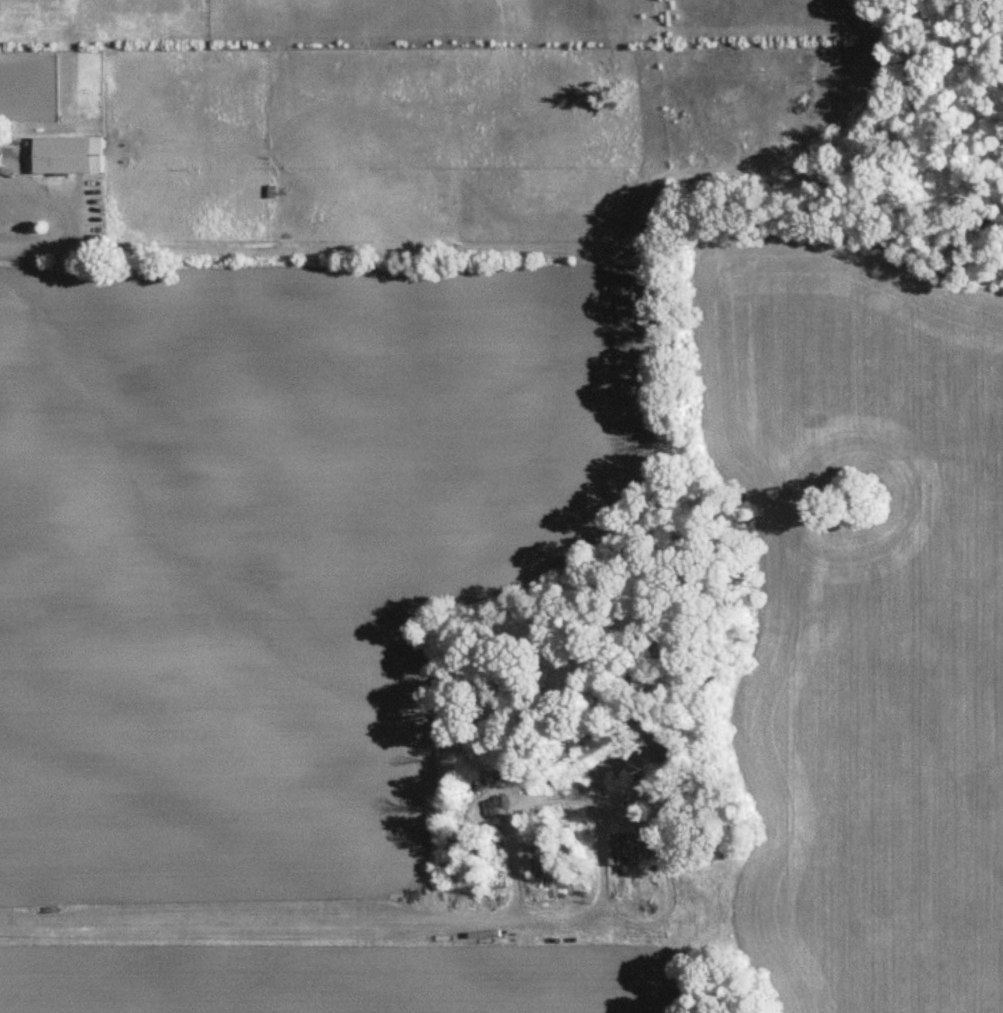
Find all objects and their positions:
building: (0, 154)
building: (71, 156)
building: (822, 156)
road: (73, 222)
road: (591, 804)
building: (627, 848)
building: (455, 853)
road: (252, 922)

